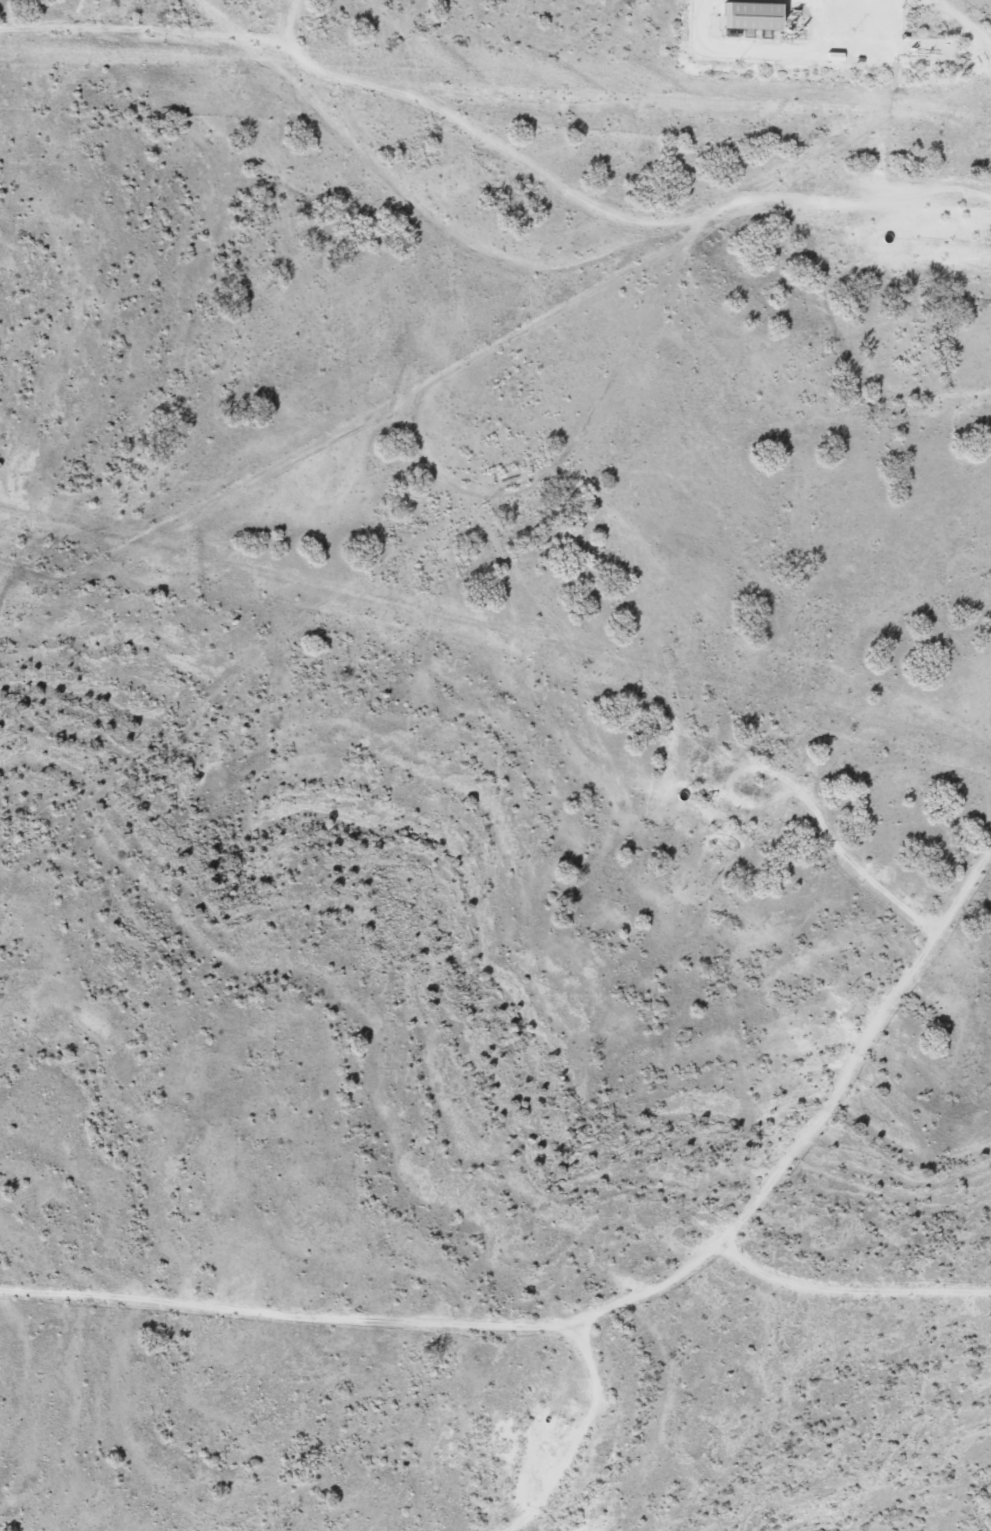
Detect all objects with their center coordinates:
building: (757, 16)
road: (574, 256)
road: (584, 1266)

